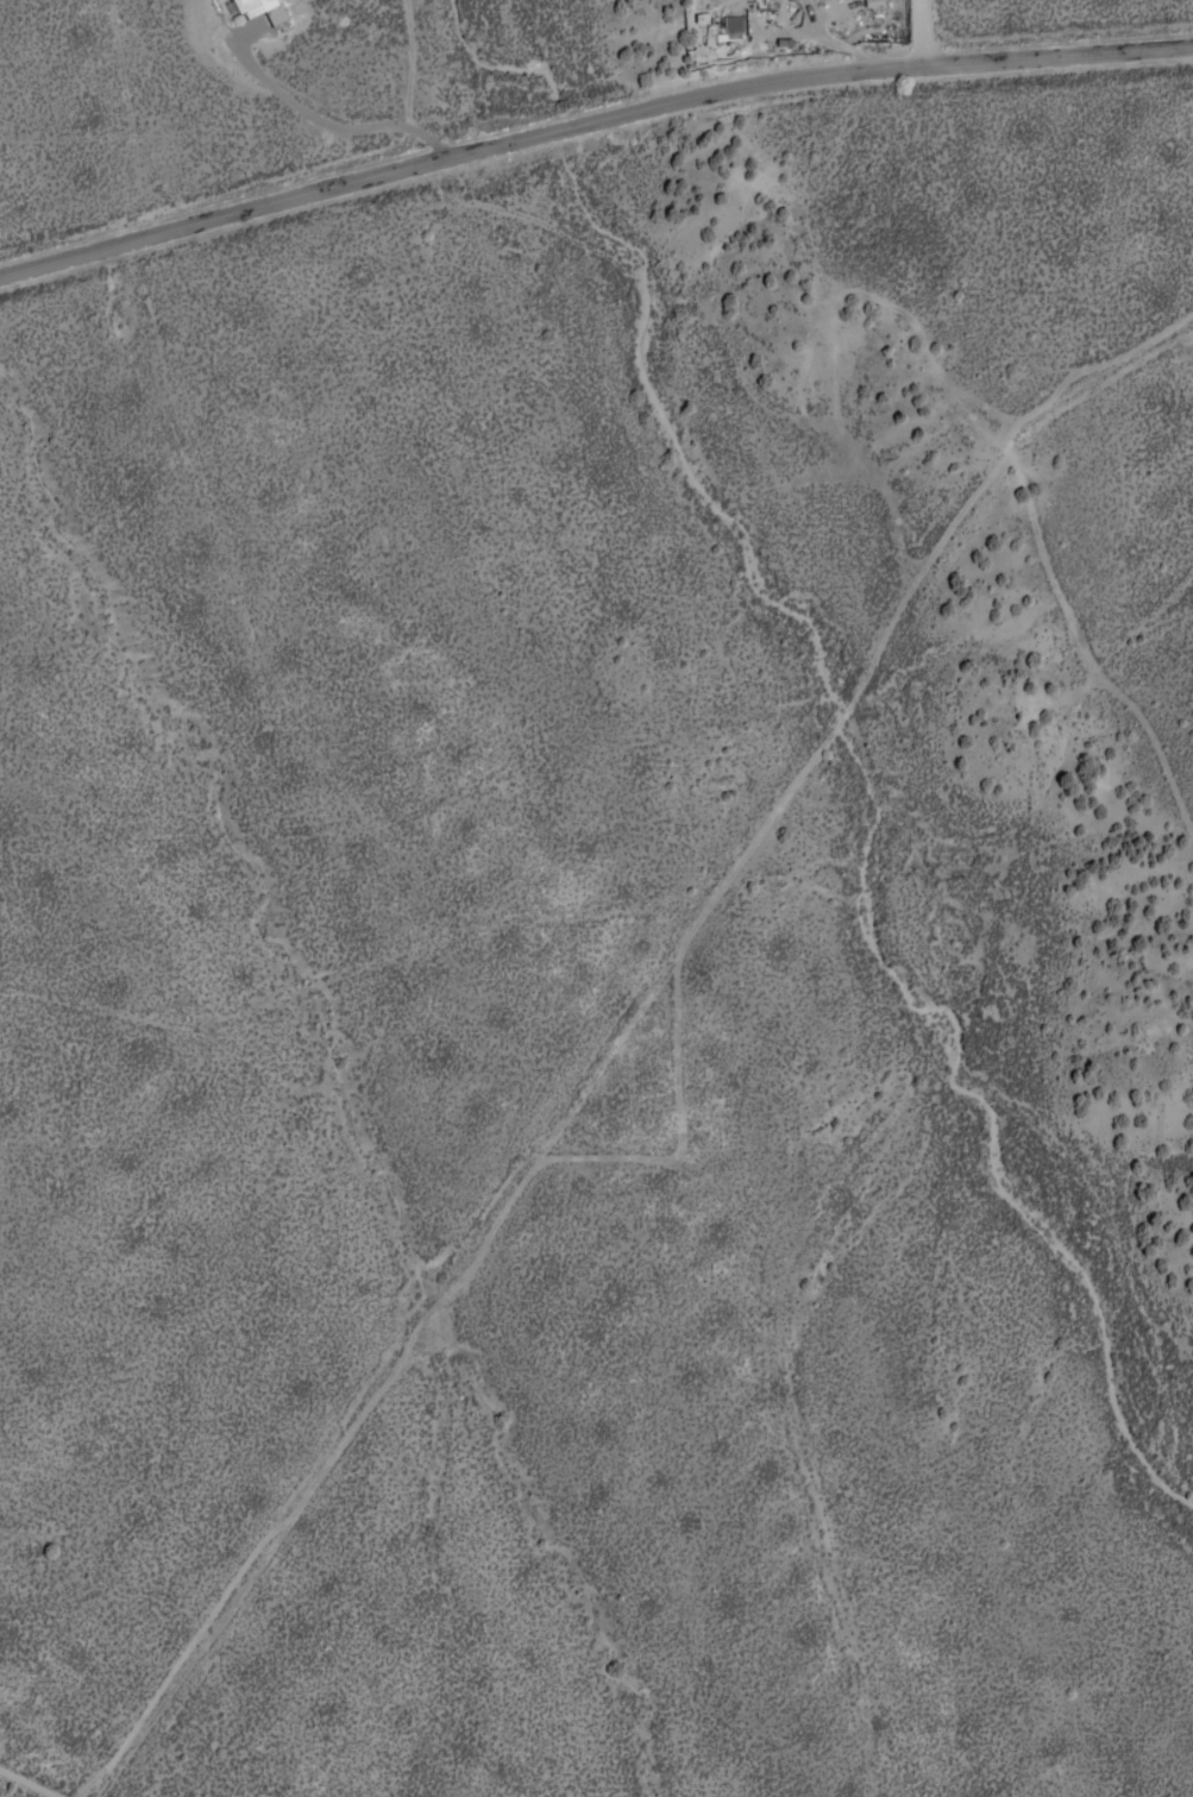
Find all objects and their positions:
building: (259, 10)
road: (917, 32)
road: (590, 119)
road: (42, 1777)

